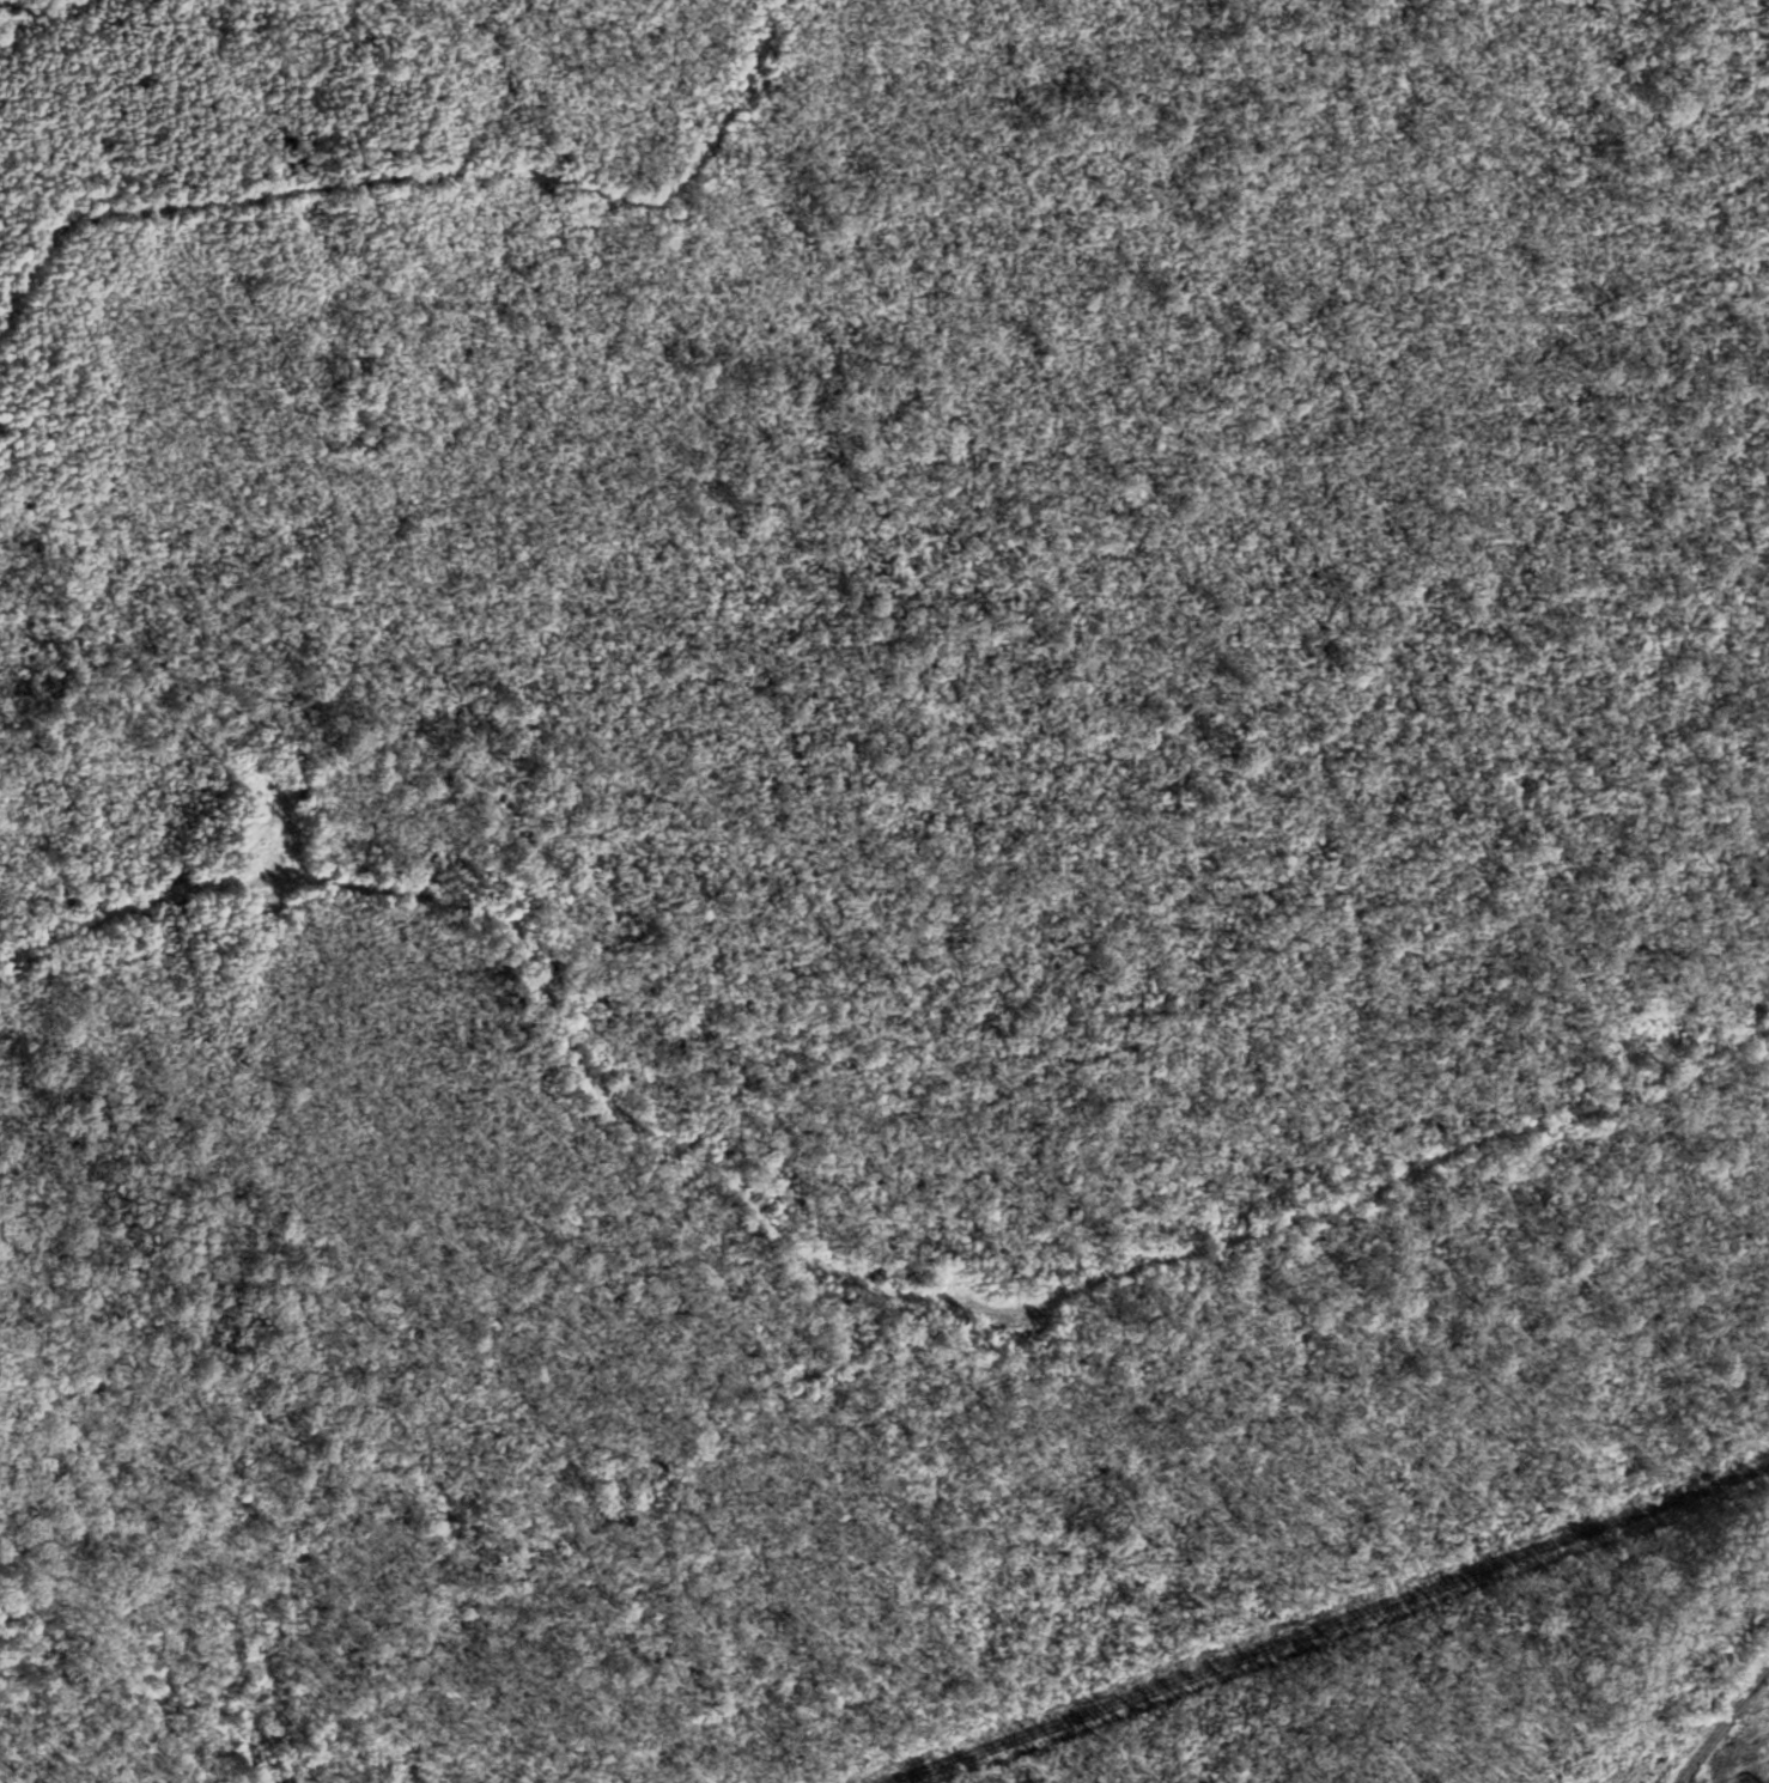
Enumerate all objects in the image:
railway: (1321, 1624)
railway: (1739, 1704)
railway: (1694, 1760)

